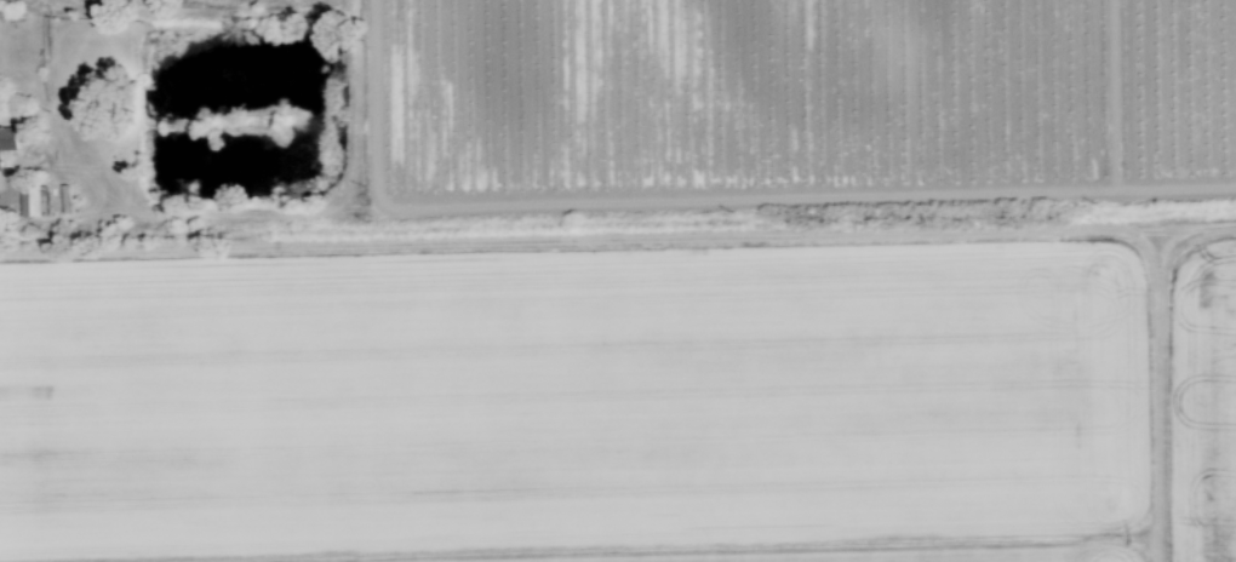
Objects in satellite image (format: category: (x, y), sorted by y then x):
building: (6, 139)
building: (29, 203)

